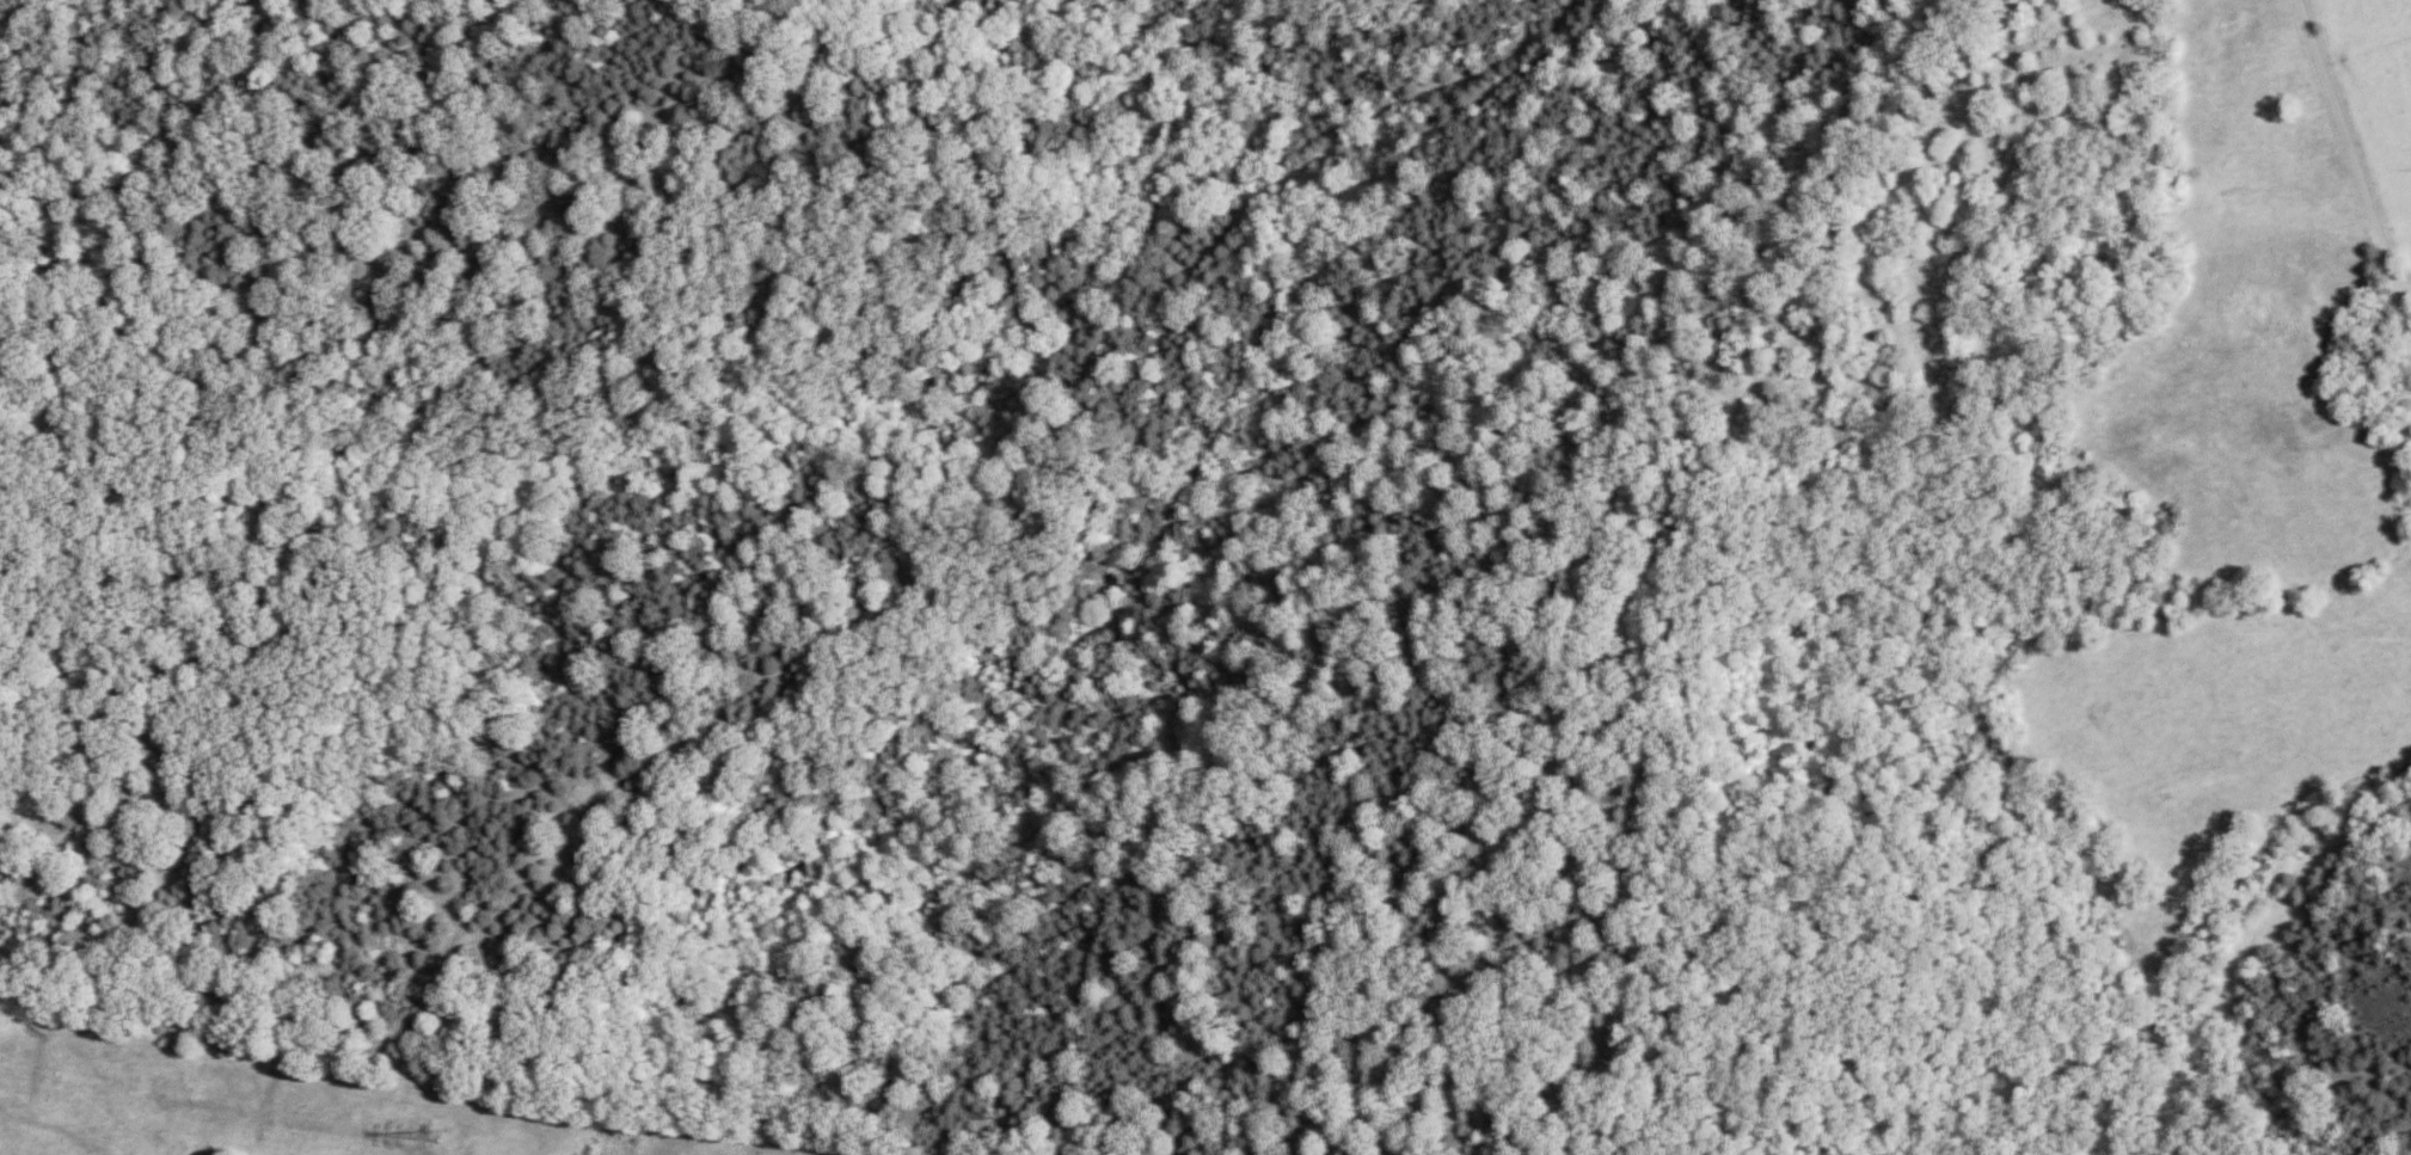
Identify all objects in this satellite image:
road: (2356, 154)

